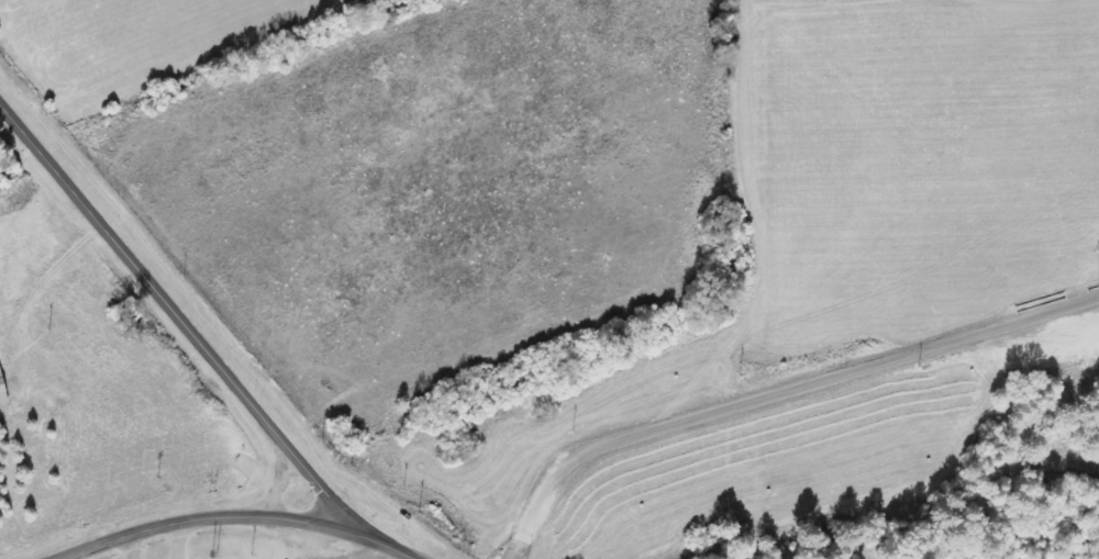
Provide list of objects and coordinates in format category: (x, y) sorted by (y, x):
road: (181, 320)
building: (2, 392)
road: (235, 517)

